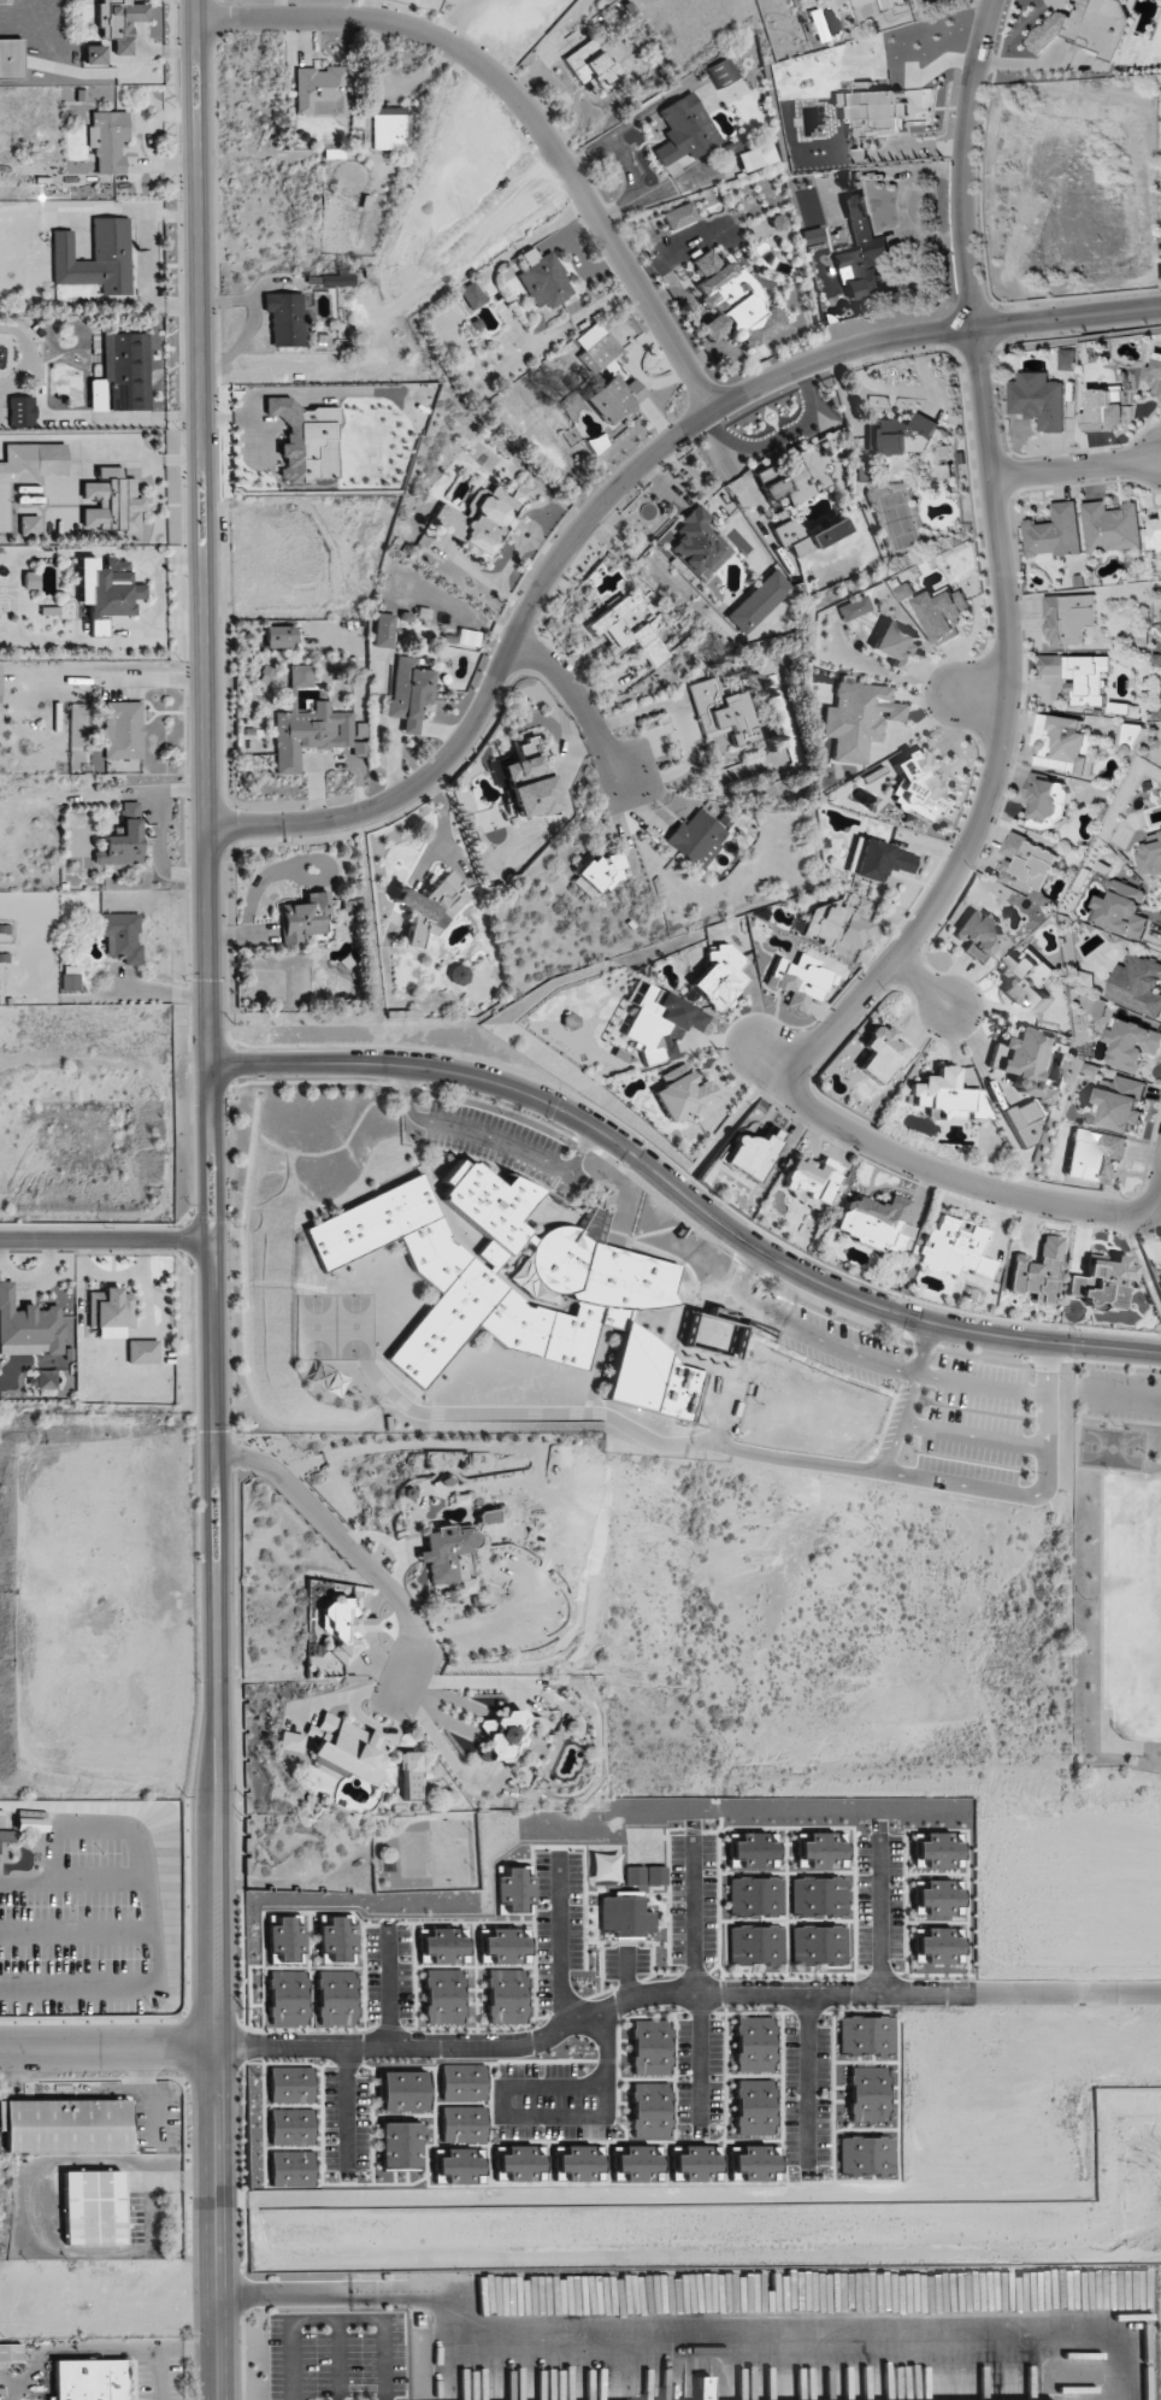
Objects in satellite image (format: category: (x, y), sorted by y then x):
building: (895, 2)
road: (454, 16)
building: (119, 22)
building: (1086, 27)
building: (94, 54)
building: (11, 58)
building: (594, 66)
building: (723, 72)
building: (319, 90)
road: (525, 108)
road: (624, 125)
building: (387, 129)
building: (684, 130)
building: (108, 140)
building: (754, 157)
building: (454, 159)
road: (965, 160)
road: (627, 161)
road: (652, 188)
building: (679, 216)
building: (813, 235)
building: (861, 253)
building: (96, 257)
building: (411, 277)
building: (542, 280)
building: (471, 295)
building: (731, 301)
building: (285, 318)
building: (596, 345)
building: (1068, 359)
building: (126, 370)
building: (1153, 376)
road: (254, 392)
building: (613, 398)
building: (1039, 400)
building: (1106, 408)
building: (901, 435)
building: (306, 440)
building: (33, 461)
road: (1078, 469)
building: (792, 477)
road: (621, 486)
building: (112, 501)
building: (481, 517)
building: (28, 525)
building: (1112, 527)
building: (1054, 534)
building: (1154, 534)
building: (807, 535)
building: (699, 543)
building: (107, 587)
building: (904, 592)
building: (759, 601)
building: (853, 607)
building: (943, 614)
building: (1068, 618)
building: (383, 630)
building: (642, 633)
building: (279, 636)
building: (467, 637)
building: (896, 646)
building: (1079, 676)
building: (0, 680)
building: (409, 693)
road: (982, 694)
road: (580, 701)
building: (723, 712)
building: (858, 718)
building: (310, 727)
building: (122, 730)
road: (1002, 739)
building: (1128, 739)
building: (1063, 745)
building: (528, 782)
building: (920, 788)
building: (1047, 800)
building: (696, 837)
building: (124, 840)
building: (1149, 855)
building: (878, 859)
building: (1027, 863)
building: (599, 873)
building: (431, 907)
building: (1122, 910)
building: (305, 917)
building: (839, 922)
building: (978, 934)
building: (120, 936)
building: (458, 973)
building: (719, 976)
building: (800, 980)
building: (1026, 980)
building: (70, 981)
road: (921, 984)
building: (1137, 986)
road: (211, 1023)
road: (736, 1042)
building: (1131, 1045)
building: (884, 1053)
building: (1024, 1061)
building: (683, 1094)
building: (949, 1096)
building: (1120, 1102)
building: (1021, 1124)
road: (724, 1130)
road: (493, 1136)
building: (752, 1153)
building: (1094, 1154)
building: (812, 1180)
road: (970, 1186)
road: (686, 1196)
building: (874, 1223)
road: (107, 1235)
building: (955, 1247)
building: (1037, 1271)
road: (745, 1272)
building: (1159, 1281)
building: (1102, 1282)
building: (608, 1290)
building: (110, 1312)
building: (28, 1327)
park: (311, 1327)
park: (352, 1327)
parking lot: (825, 1339)
road: (823, 1341)
building: (142, 1352)
road: (1112, 1364)
road: (721, 1371)
building: (47, 1378)
building: (334, 1383)
road: (979, 1383)
building: (794, 1392)
parking lot: (1119, 1393)
road: (1120, 1394)
road: (1080, 1416)
road: (615, 1419)
parking lot: (974, 1420)
road: (971, 1435)
park: (1113, 1448)
road: (957, 1483)
building: (487, 1516)
road: (353, 1554)
building: (448, 1557)
park: (1112, 1557)
road: (1102, 1589)
building: (344, 1627)
building: (501, 1734)
building: (287, 1742)
building: (344, 1747)
building: (31, 1824)
building: (6, 1841)
building: (754, 1851)
building: (821, 1851)
building: (938, 1851)
building: (633, 1875)
building: (656, 1875)
building: (515, 1890)
building: (755, 1895)
building: (818, 1895)
building: (939, 1896)
building: (624, 1913)
building: (287, 1941)
building: (337, 1941)
building: (508, 1945)
building: (755, 1945)
building: (819, 1945)
building: (447, 1946)
building: (938, 1946)
road: (683, 1993)
building: (443, 1996)
building: (506, 1996)
building: (288, 1998)
building: (336, 1998)
building: (866, 2035)
building: (754, 2043)
road: (107, 2047)
building: (649, 2047)
road: (700, 2063)
building: (462, 2082)
building: (290, 2084)
building: (403, 2090)
building: (867, 2094)
building: (754, 2107)
building: (649, 2110)
road: (541, 2116)
building: (462, 2124)
building: (65, 2125)
building: (290, 2127)
building: (400, 2145)
building: (865, 2154)
building: (579, 2163)
building: (519, 2164)
building: (637, 2164)
building: (754, 2164)
building: (460, 2165)
building: (290, 2169)
road: (28, 2201)
building: (93, 2207)
road: (217, 2223)
building: (571, 2296)
road: (335, 2320)
building: (11, 2353)
road: (167, 2355)
road: (338, 2359)
building: (90, 2380)
building: (703, 2388)

